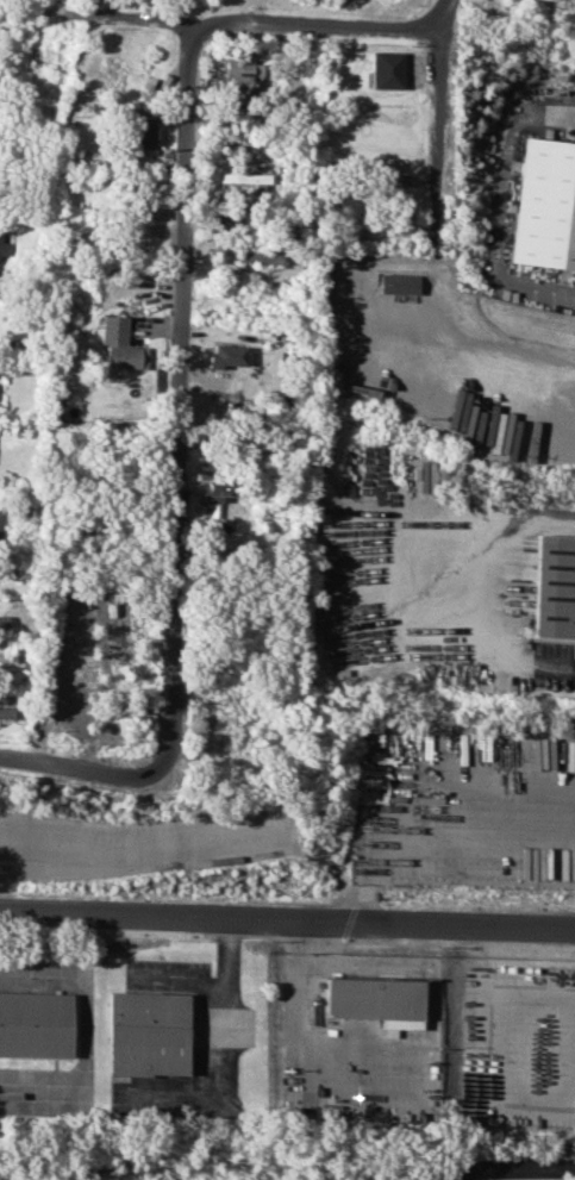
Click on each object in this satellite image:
road: (246, 19)
road: (437, 52)
building: (257, 65)
building: (237, 69)
building: (386, 69)
building: (145, 131)
road: (435, 173)
building: (246, 179)
building: (548, 205)
road: (504, 211)
building: (4, 249)
building: (261, 255)
building: (401, 282)
building: (113, 329)
road: (467, 351)
building: (227, 355)
building: (126, 356)
road: (179, 397)
building: (219, 489)
building: (0, 522)
building: (5, 572)
building: (557, 585)
road: (496, 591)
building: (2, 620)
building: (7, 655)
building: (6, 712)
road: (67, 766)
road: (143, 775)
road: (476, 805)
parking lot: (467, 806)
parking lot: (139, 844)
parking lot: (139, 844)
road: (287, 919)
road: (400, 966)
road: (174, 984)
building: (373, 1000)
building: (36, 1024)
building: (150, 1032)
road: (293, 1049)
road: (219, 1056)
road: (499, 1161)

